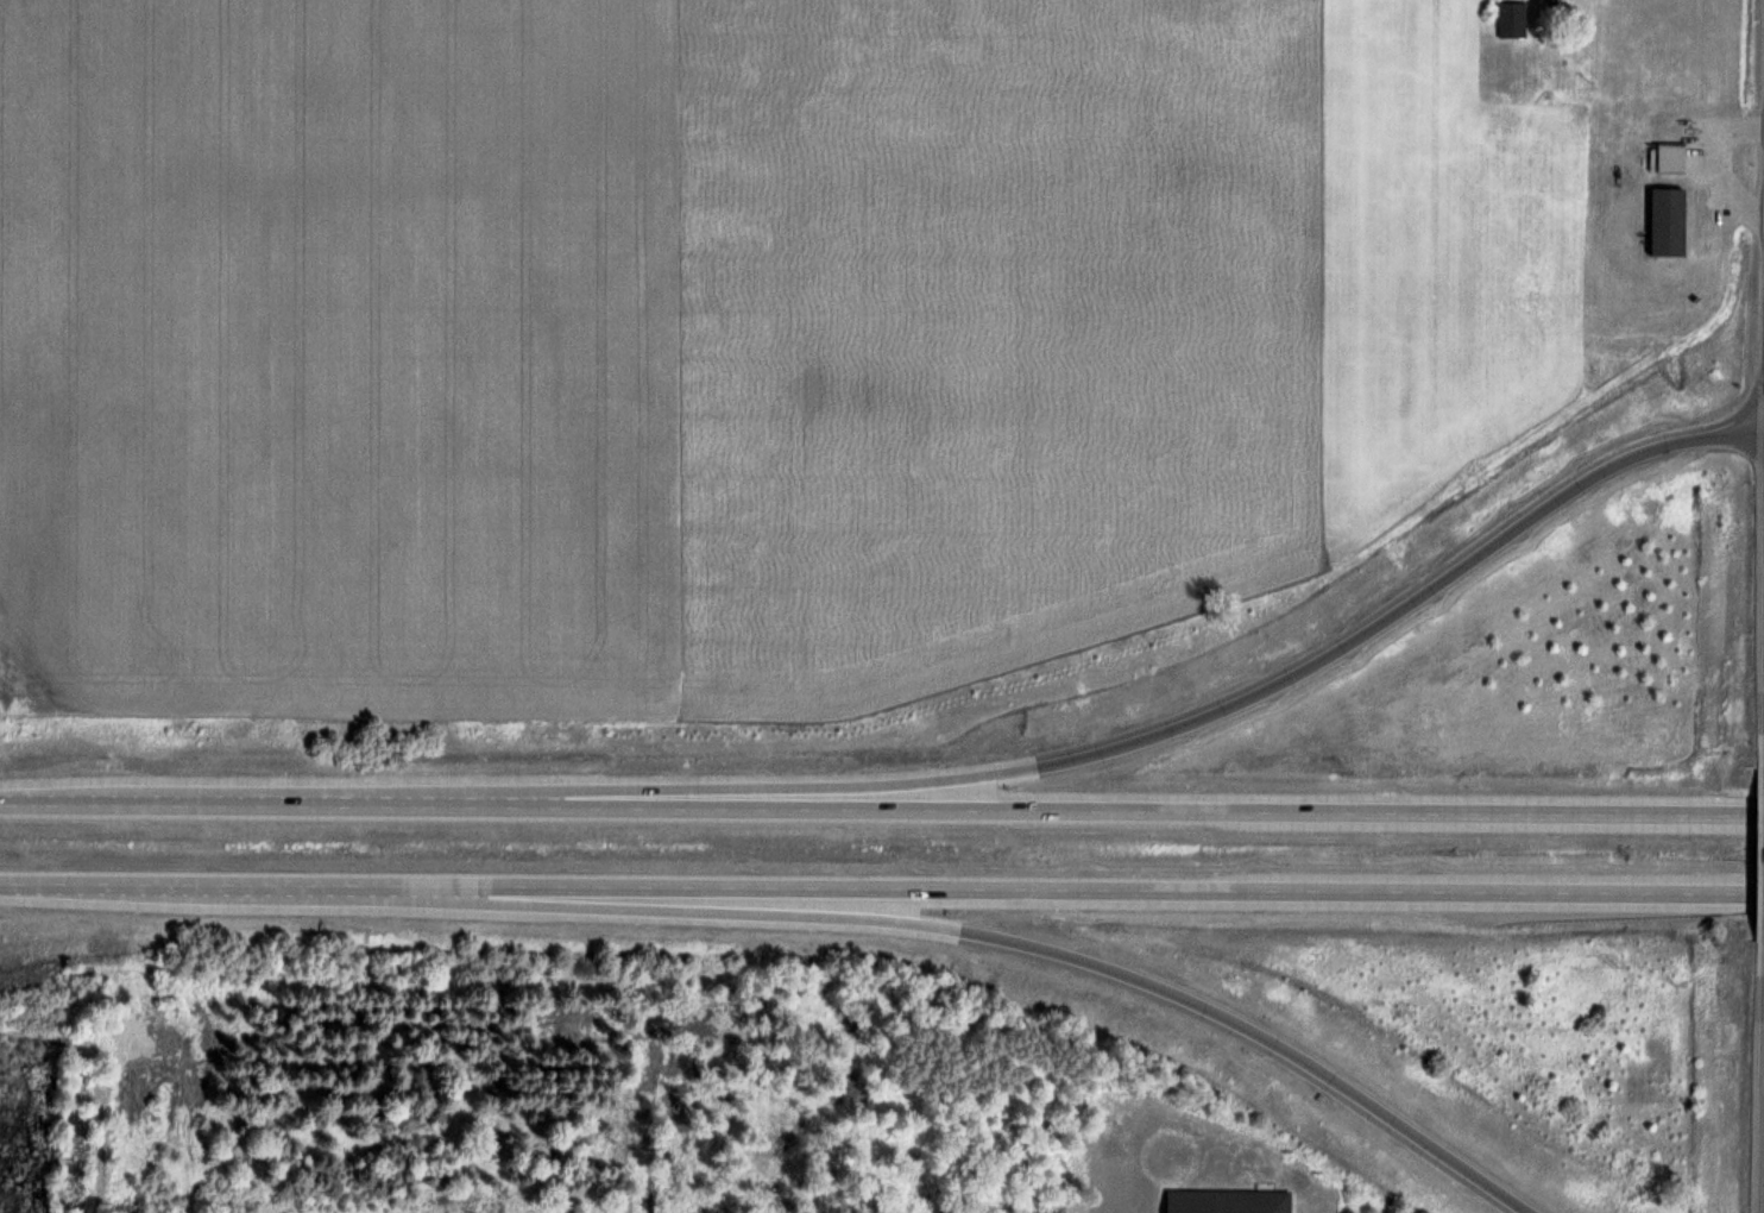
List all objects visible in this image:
building: (1511, 19)
building: (1669, 158)
building: (1665, 221)
road: (1228, 706)
road: (882, 807)
road: (882, 887)
road: (1053, 953)

